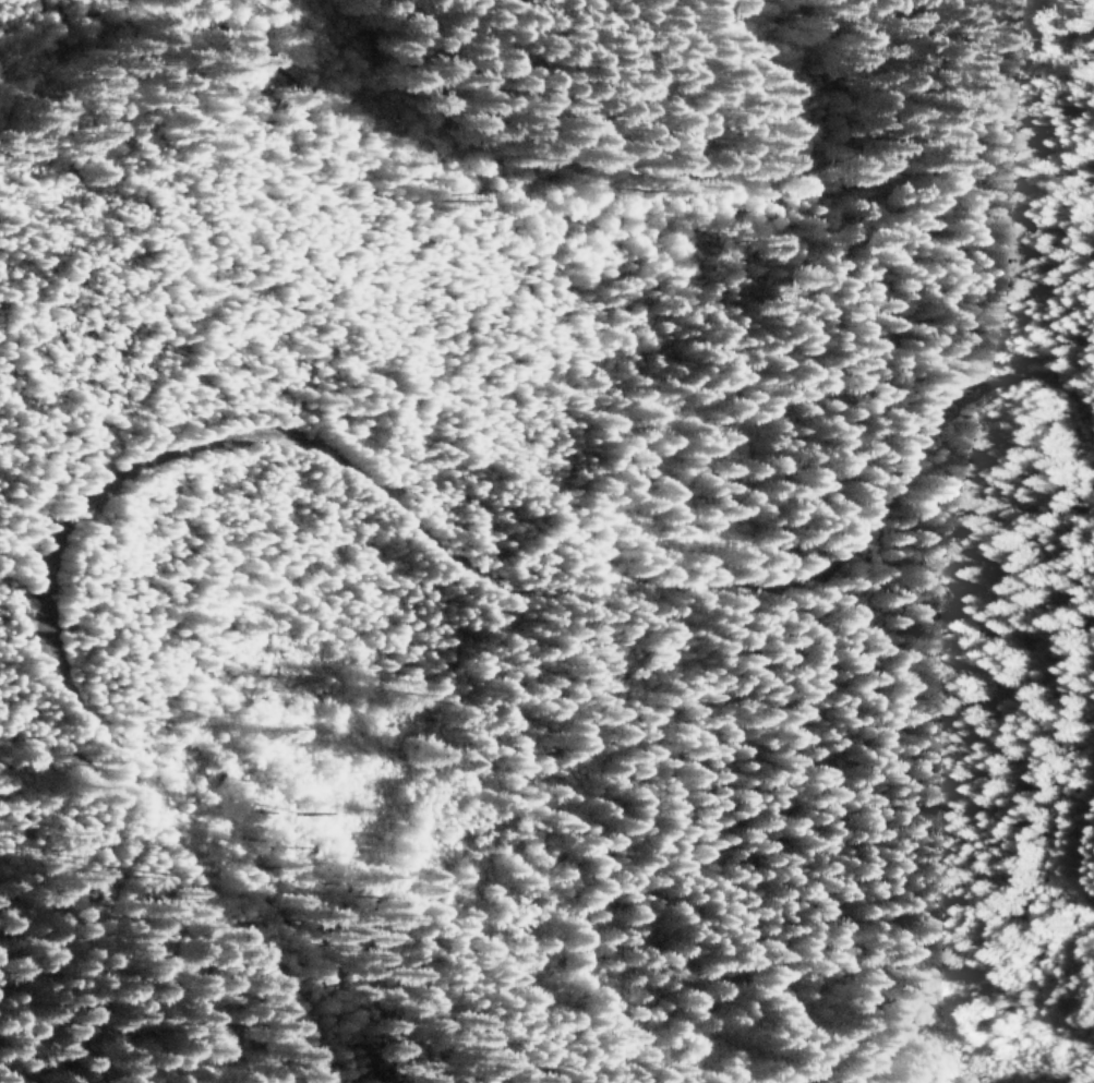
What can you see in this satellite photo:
road: (335, 461)
road: (1085, 865)

